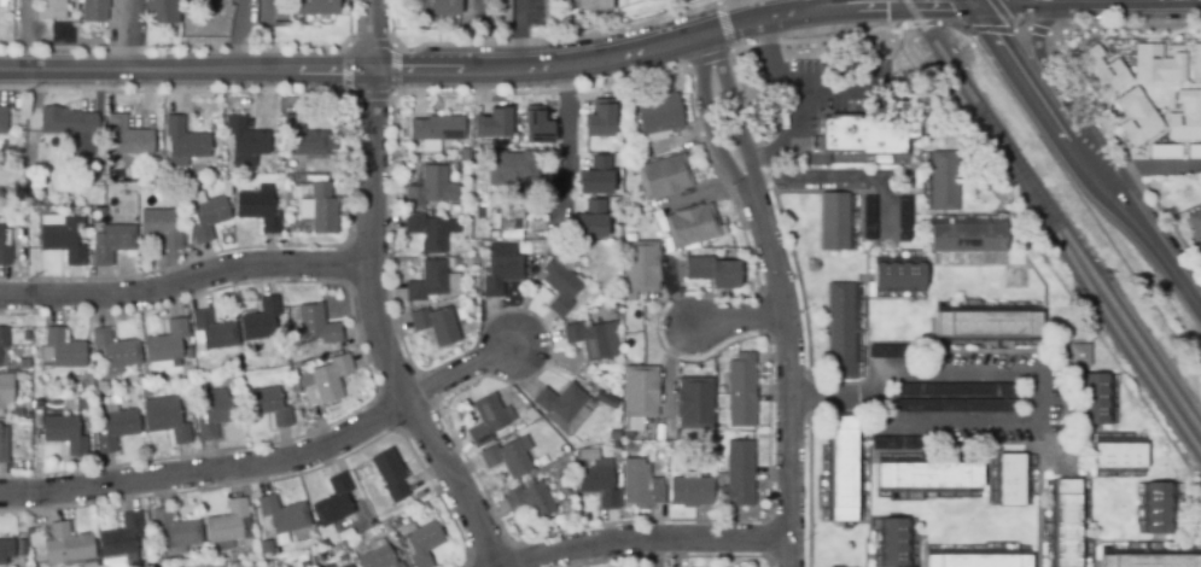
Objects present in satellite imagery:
road: (1123, 0)
road: (1161, 0)
road: (1072, 1)
road: (1097, 1)
road: (969, 2)
road: (1014, 2)
road: (1066, 2)
building: (590, 5)
traffic signals: (972, 5)
building: (315, 7)
building: (52, 8)
road: (776, 8)
building: (95, 10)
road: (263, 10)
building: (448, 10)
building: (161, 12)
building: (280, 13)
building: (502, 13)
road: (1123, 24)
road: (1009, 29)
road: (1021, 29)
road: (1037, 30)
road: (847, 34)
road: (239, 35)
road: (371, 35)
road: (520, 35)
road: (558, 39)
road: (392, 46)
road: (174, 47)
road: (730, 48)
railway: (943, 54)
road: (1040, 63)
building: (1194, 63)
building: (1154, 64)
road: (489, 72)
building: (1100, 72)
road: (173, 90)
road: (541, 90)
power tower: (23, 92)
building: (660, 115)
building: (1131, 117)
building: (1184, 117)
building: (2, 119)
building: (600, 119)
building: (492, 122)
building: (60, 124)
building: (536, 124)
building: (439, 129)
building: (865, 135)
building: (304, 138)
building: (128, 139)
building: (190, 139)
building: (246, 139)
road: (565, 139)
building: (675, 150)
road: (1082, 163)
road: (1145, 168)
building: (513, 169)
building: (597, 175)
road: (843, 176)
building: (665, 177)
building: (944, 181)
building: (432, 189)
building: (323, 210)
building: (260, 211)
building: (99, 216)
building: (208, 220)
building: (511, 220)
building: (590, 220)
building: (870, 220)
building: (905, 220)
building: (835, 223)
building: (1194, 224)
building: (690, 226)
building: (161, 228)
building: (430, 236)
building: (969, 238)
building: (66, 241)
building: (112, 244)
building: (4, 252)
building: (640, 268)
building: (500, 270)
railway: (1091, 271)
power tower: (21, 273)
building: (711, 273)
building: (898, 275)
road: (185, 282)
building: (432, 283)
building: (561, 285)
railway: (1088, 285)
road: (779, 296)
road: (735, 320)
building: (260, 321)
building: (438, 325)
building: (986, 325)
building: (839, 326)
building: (313, 327)
building: (211, 333)
road: (375, 333)
building: (2, 338)
building: (593, 340)
building: (165, 345)
building: (60, 350)
building: (113, 352)
building: (887, 353)
building: (187, 355)
building: (1078, 355)
road: (1025, 367)
road: (460, 373)
building: (138, 379)
building: (325, 381)
building: (88, 382)
building: (99, 388)
building: (740, 391)
building: (951, 391)
building: (1, 392)
building: (640, 392)
building: (1095, 401)
building: (606, 402)
building: (693, 404)
building: (954, 407)
building: (267, 408)
building: (566, 410)
building: (215, 414)
building: (164, 420)
building: (485, 421)
building: (115, 431)
building: (63, 436)
building: (893, 444)
building: (2, 449)
building: (629, 450)
building: (1118, 456)
building: (505, 460)
road: (209, 470)
building: (841, 470)
building: (736, 475)
building: (390, 477)
building: (928, 477)
building: (1010, 480)
building: (639, 486)
building: (596, 487)
building: (689, 492)
building: (530, 501)
building: (332, 503)
building: (1156, 509)
power tower: (27, 510)
building: (281, 518)
building: (226, 524)
building: (1066, 524)
building: (174, 533)
road: (649, 539)
building: (119, 542)
building: (421, 543)
building: (893, 544)
building: (66, 546)
building: (340, 546)
building: (5, 551)
building: (377, 557)
building: (978, 561)
building: (1150, 561)
building: (89, 563)
building: (321, 563)
building: (349, 566)

